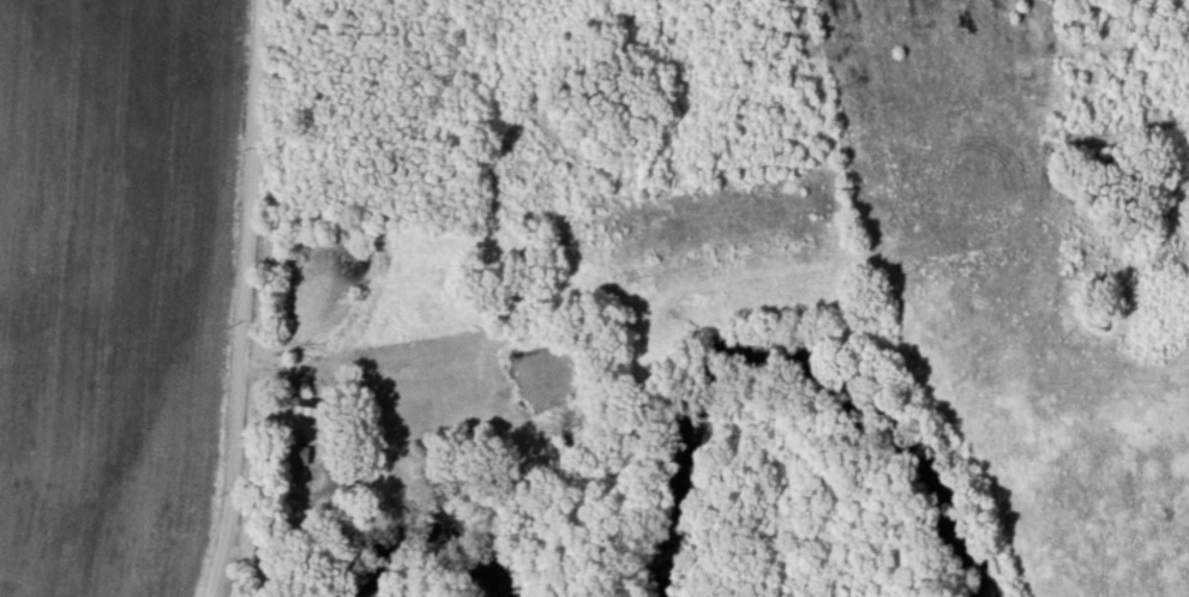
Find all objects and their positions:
road: (260, 18)
building: (523, 289)
road: (244, 316)
river: (792, 381)
building: (292, 454)
river: (428, 553)

